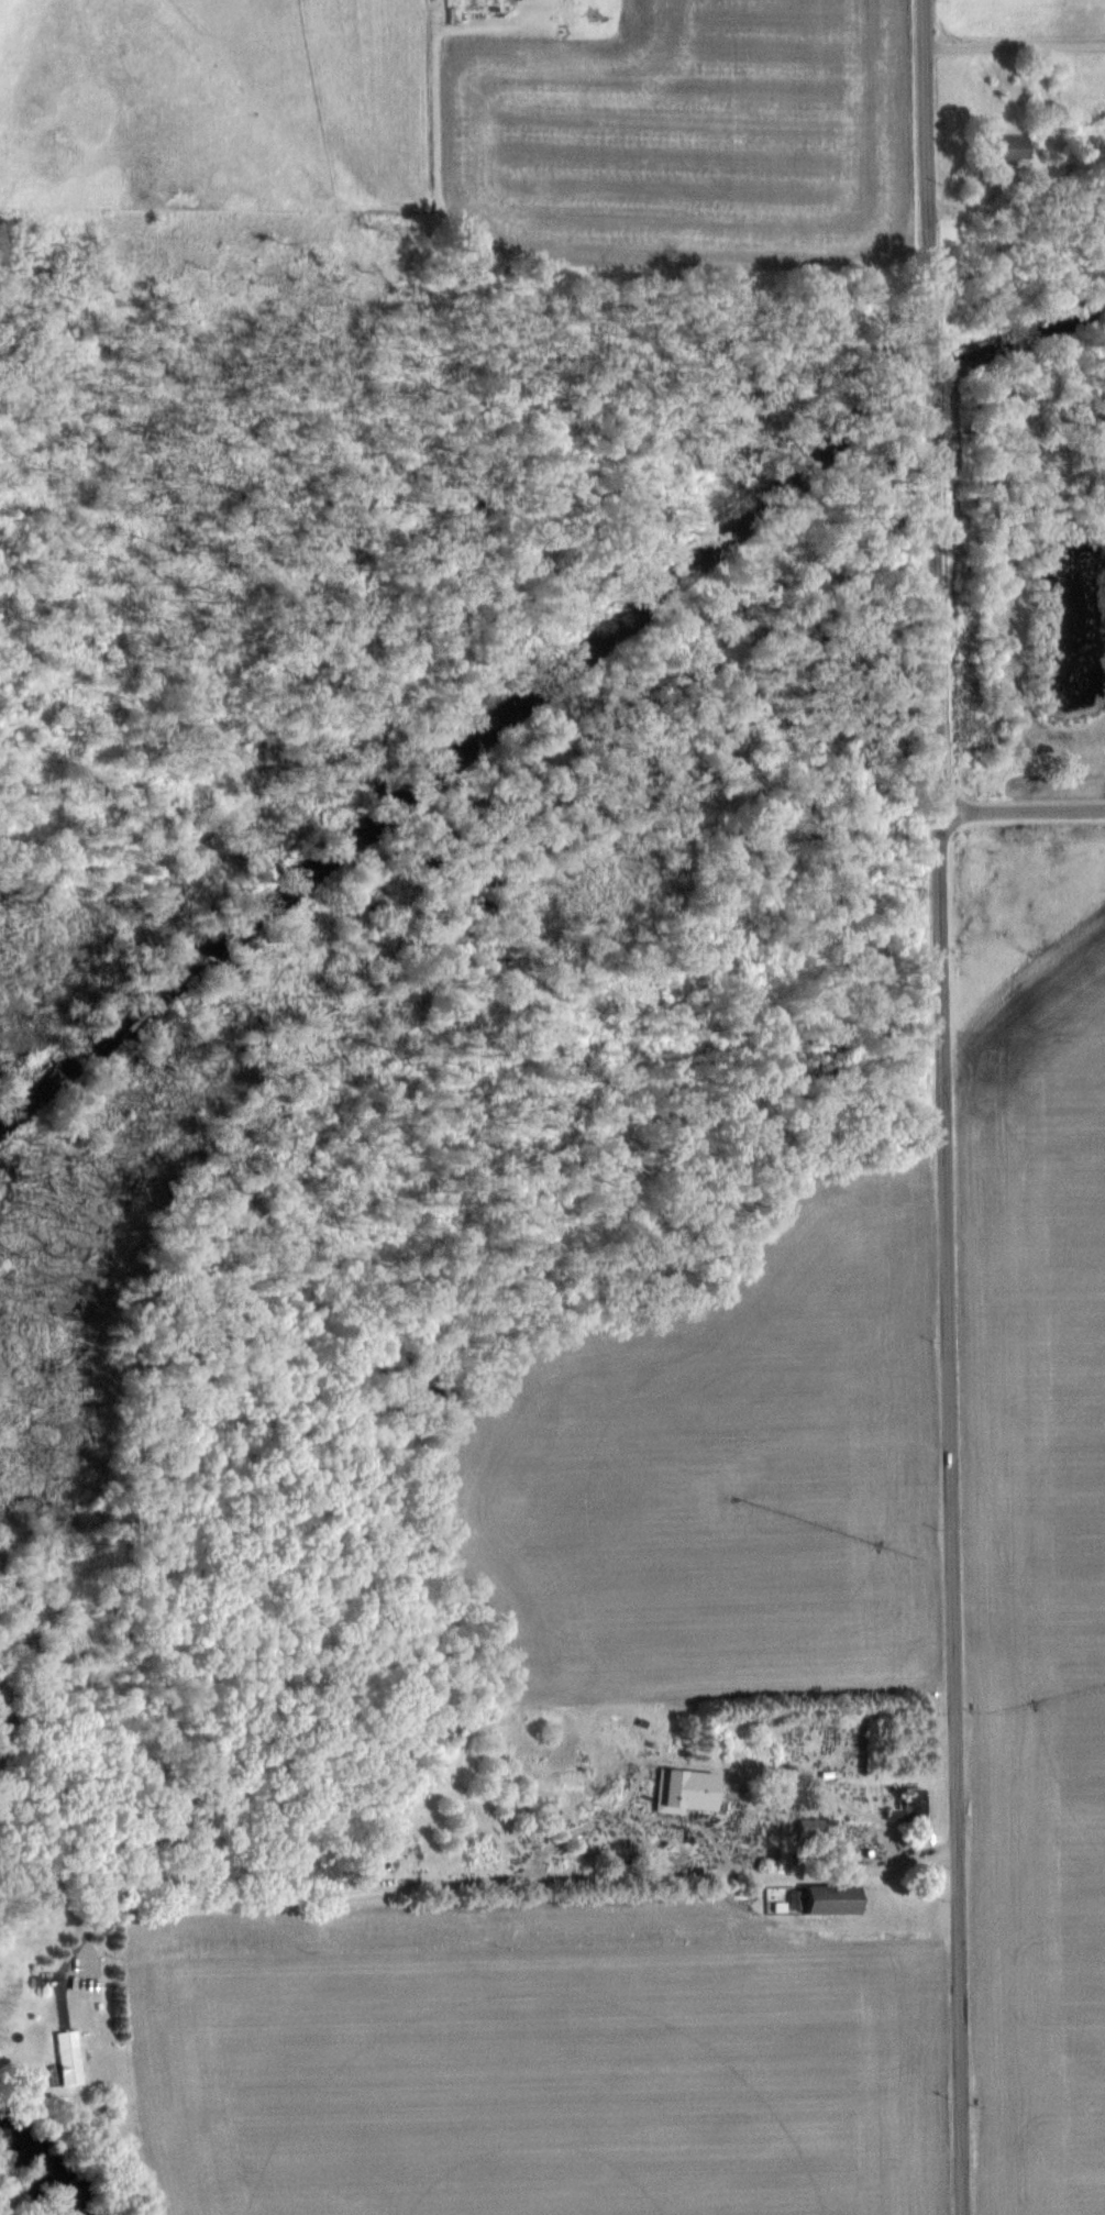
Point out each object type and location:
road: (1016, 45)
building: (1009, 148)
road: (1021, 807)
road: (946, 1107)
building: (907, 1806)
building: (809, 1828)
road: (490, 1881)
building: (828, 1898)
building: (68, 2056)
river: (49, 2172)

